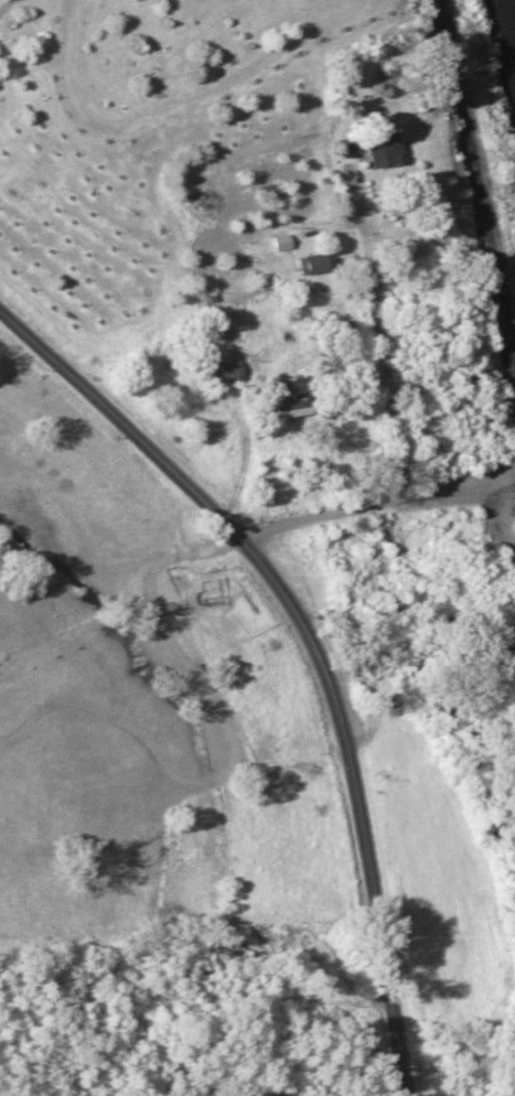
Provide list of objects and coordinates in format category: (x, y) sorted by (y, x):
road: (2, 2)
building: (369, 149)
building: (264, 191)
railway: (471, 217)
building: (277, 243)
building: (311, 264)
building: (276, 407)
road: (390, 417)
building: (394, 534)
building: (206, 584)
road: (310, 646)
building: (118, 1008)

